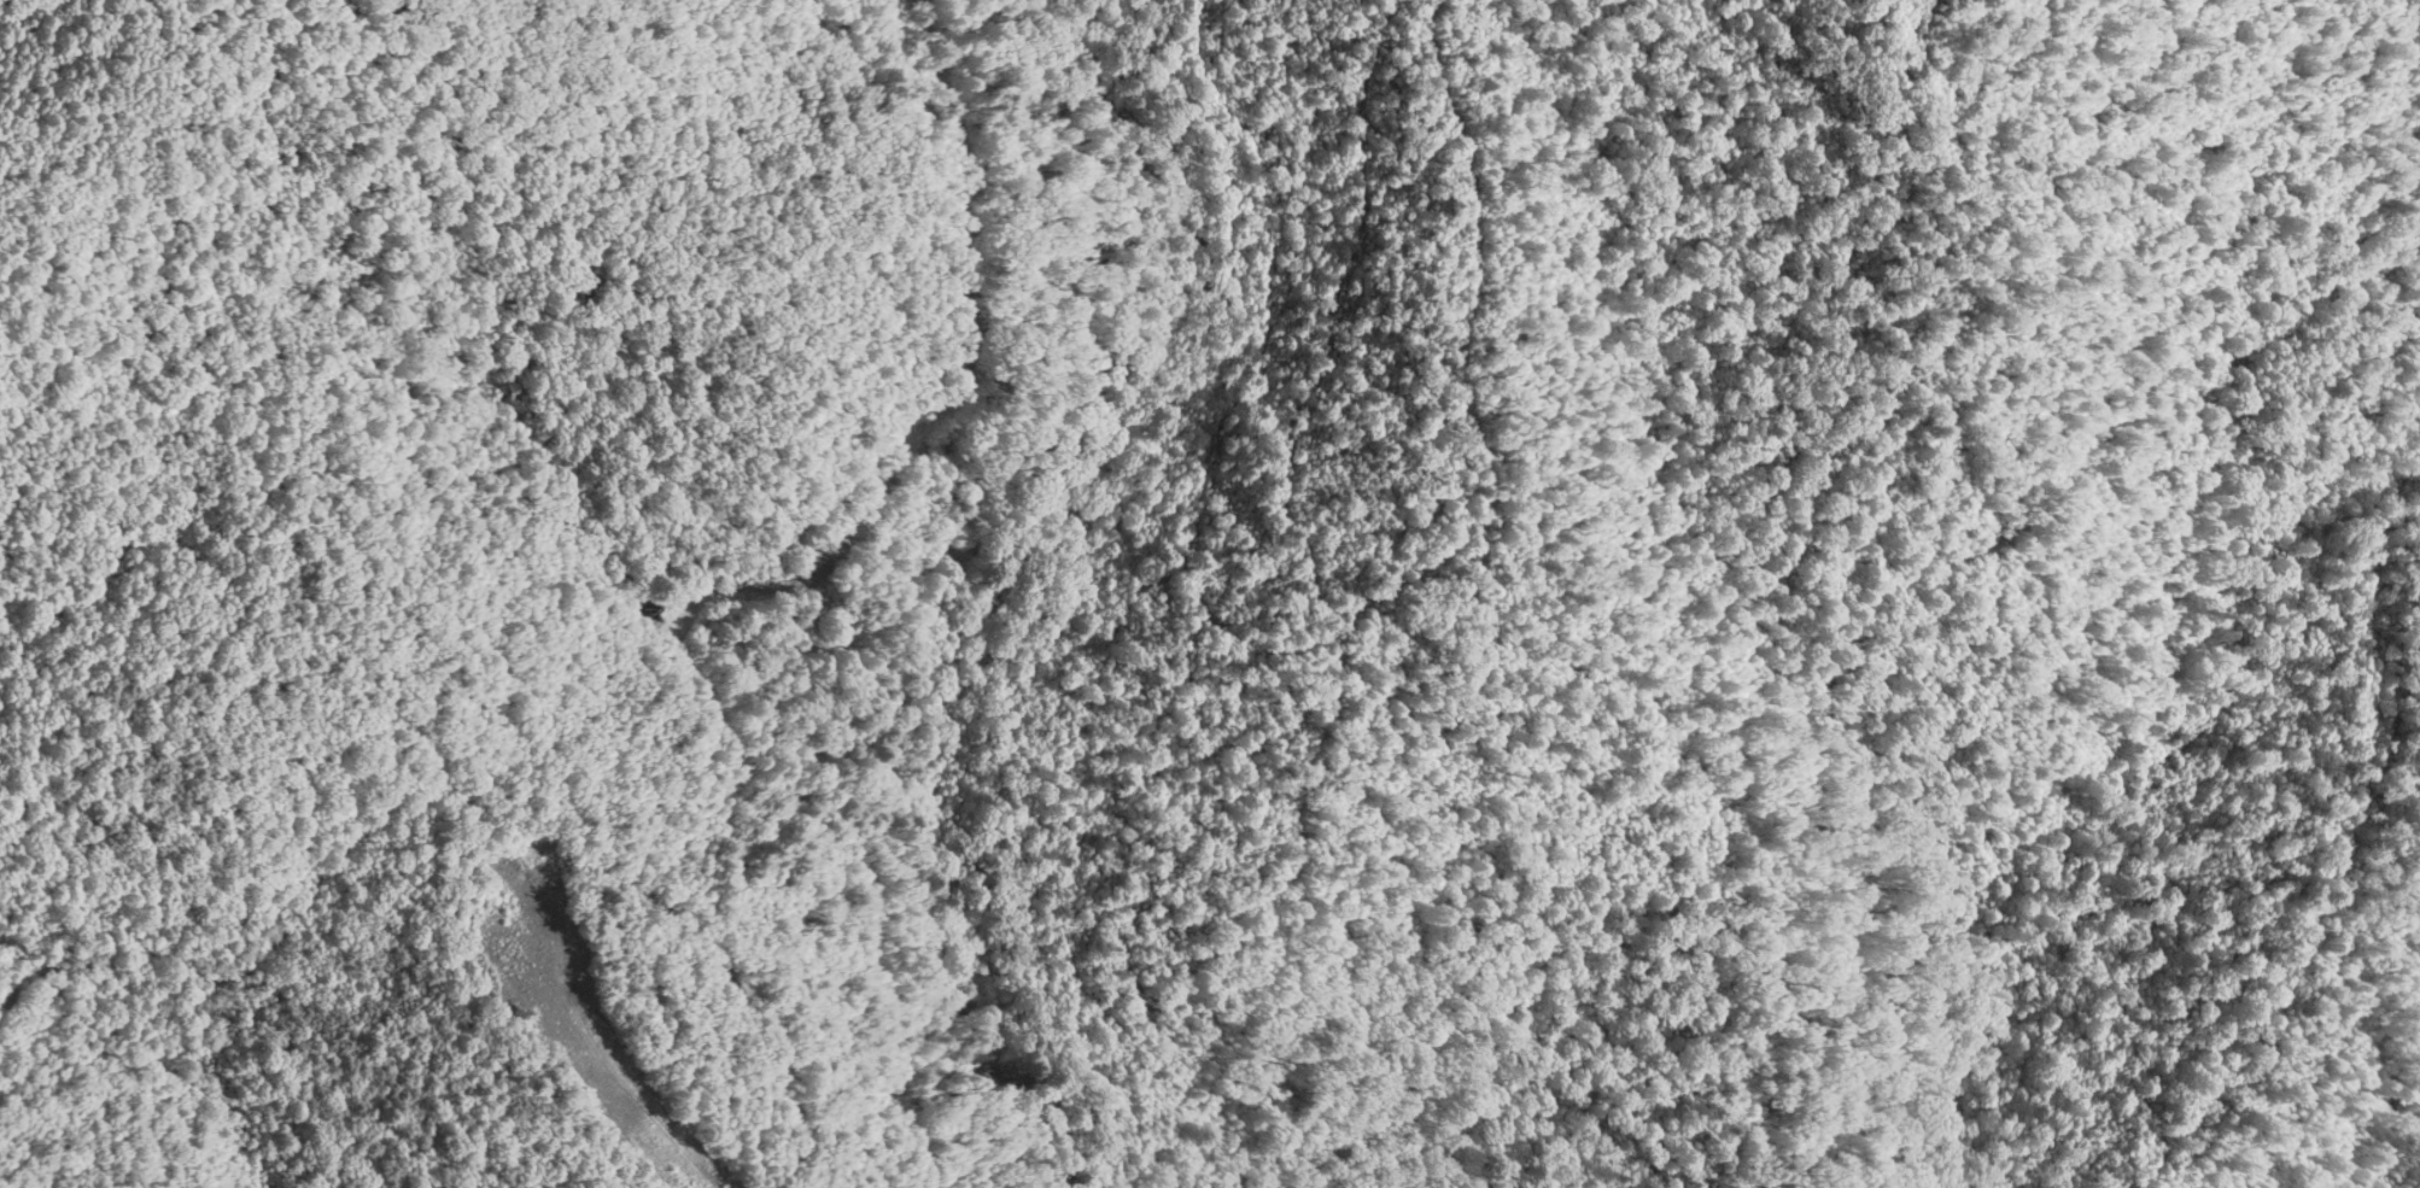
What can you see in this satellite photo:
park: (1211, 593)

